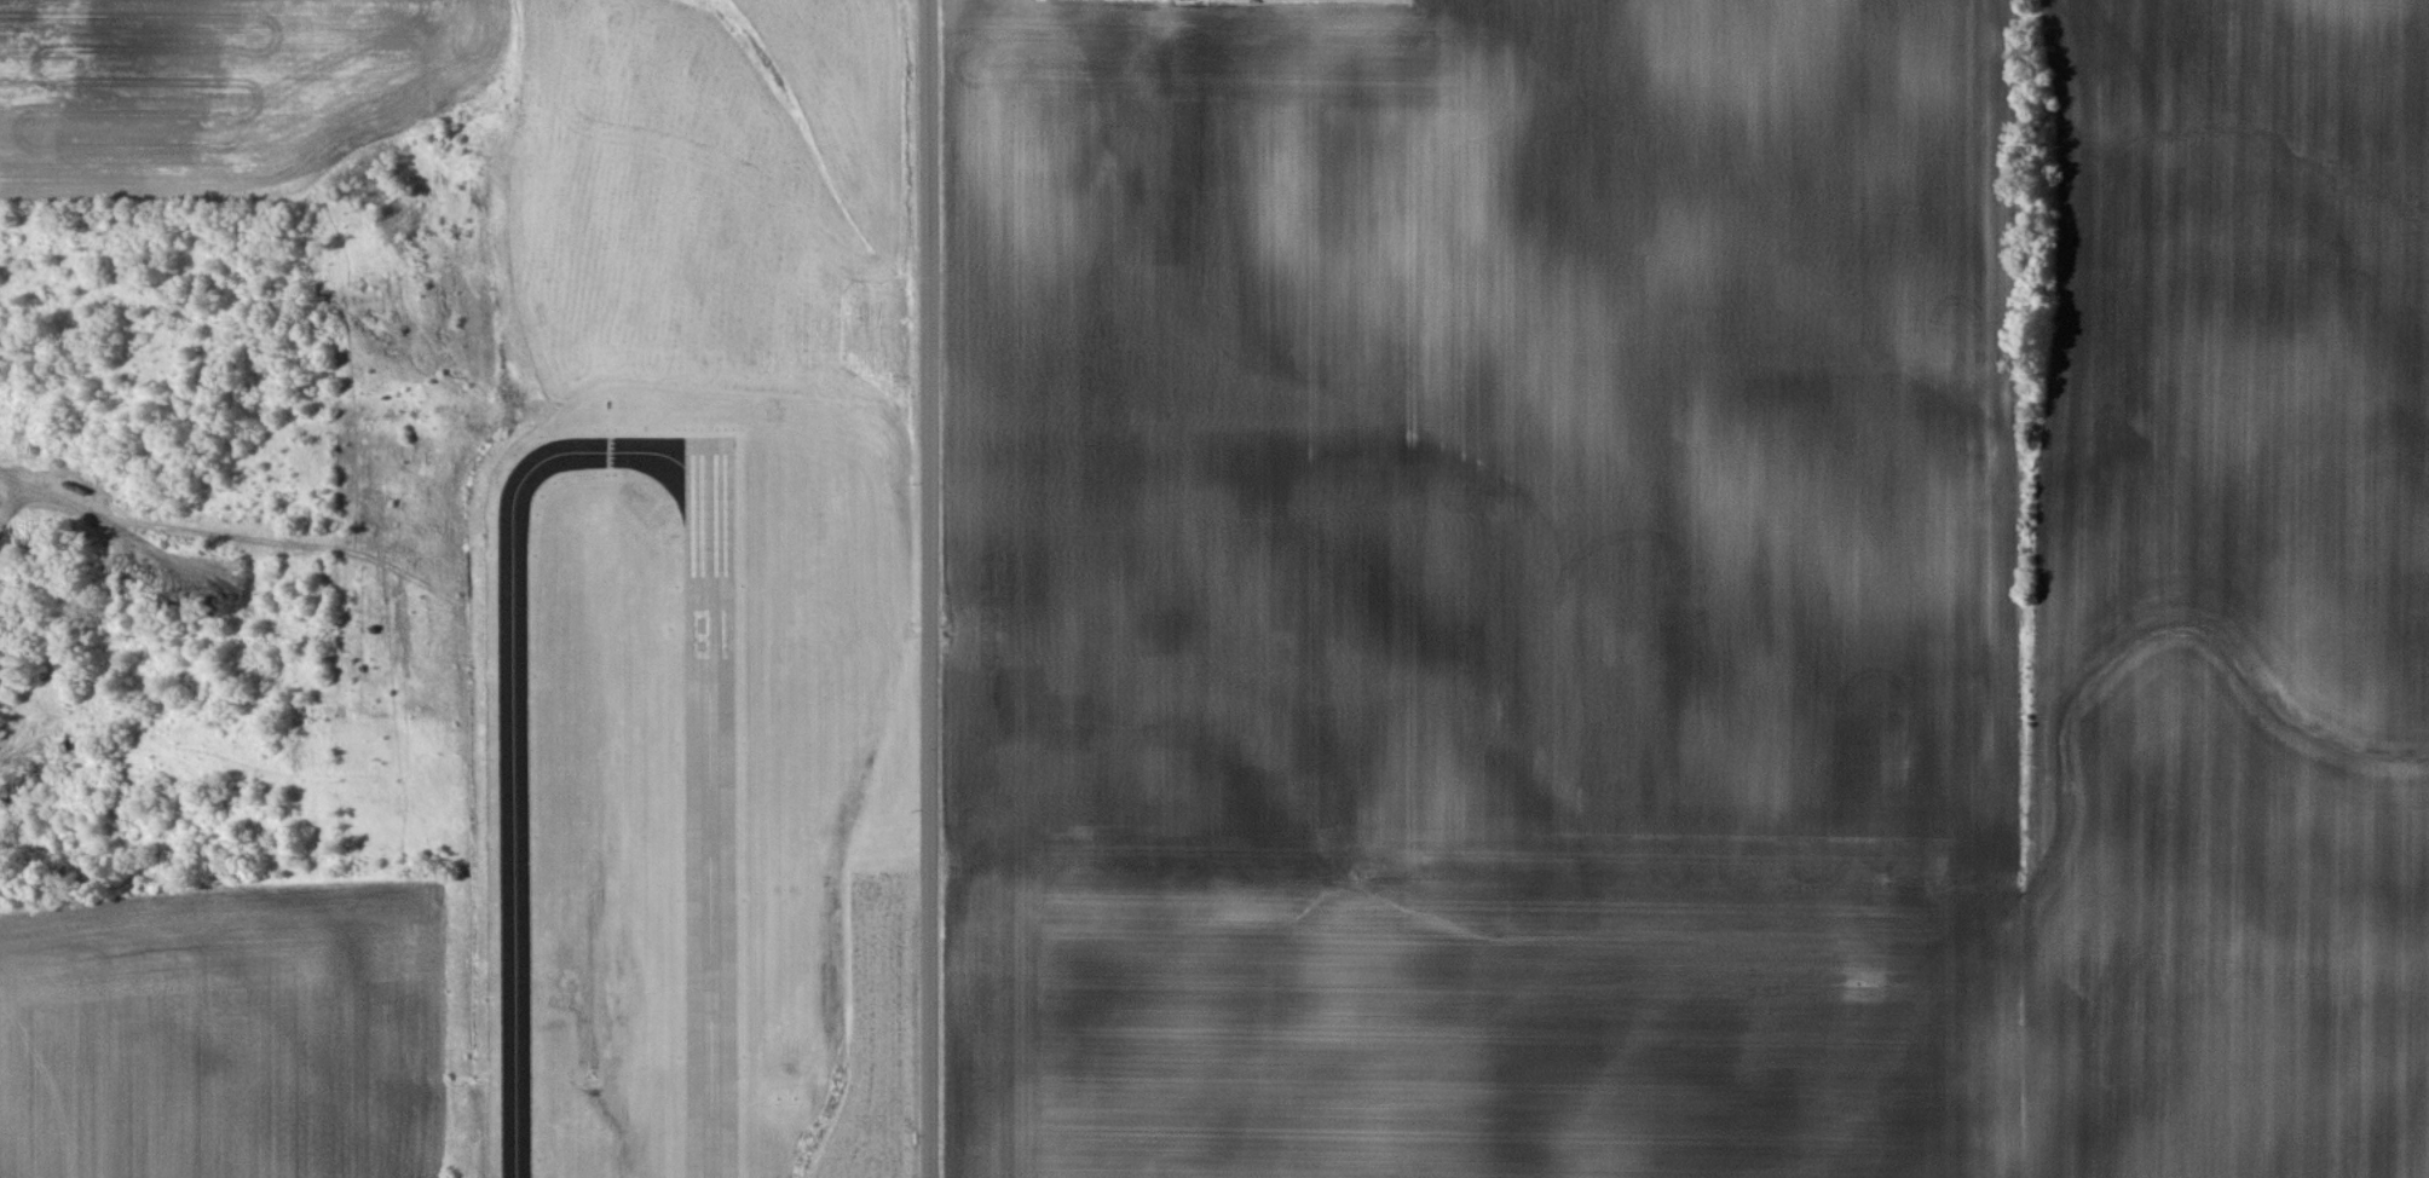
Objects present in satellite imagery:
road: (931, 588)
airport taxiway: (517, 722)
airport: (676, 772)
airport runway: (709, 816)

